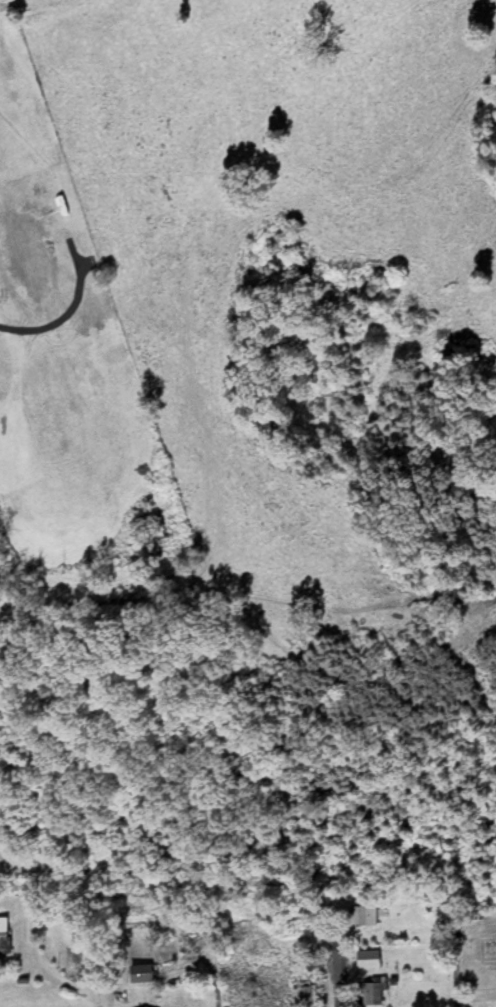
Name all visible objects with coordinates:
building: (362, 917)
building: (2, 936)
road: (335, 952)
building: (487, 953)
building: (365, 961)
building: (139, 975)
road: (454, 977)
road: (215, 984)
building: (370, 993)
building: (302, 995)
road: (103, 1000)

